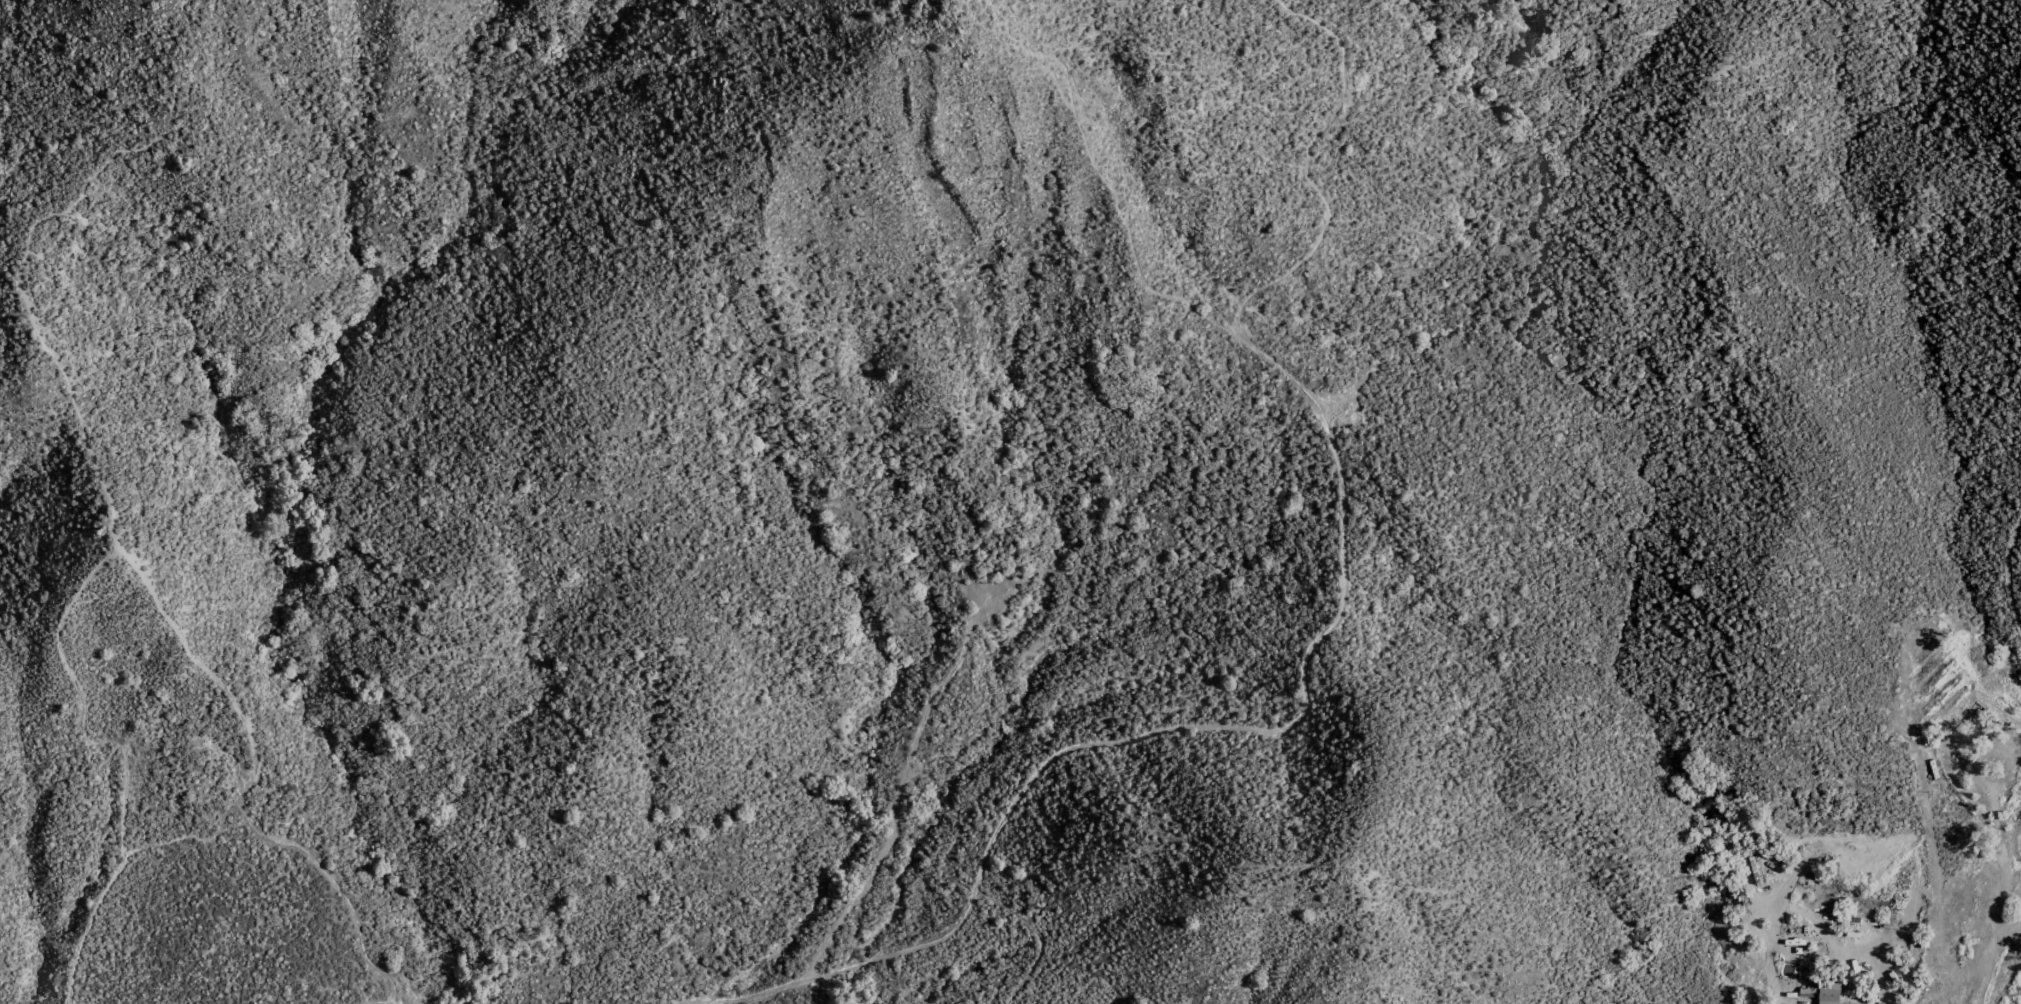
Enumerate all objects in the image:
road: (1772, 955)

